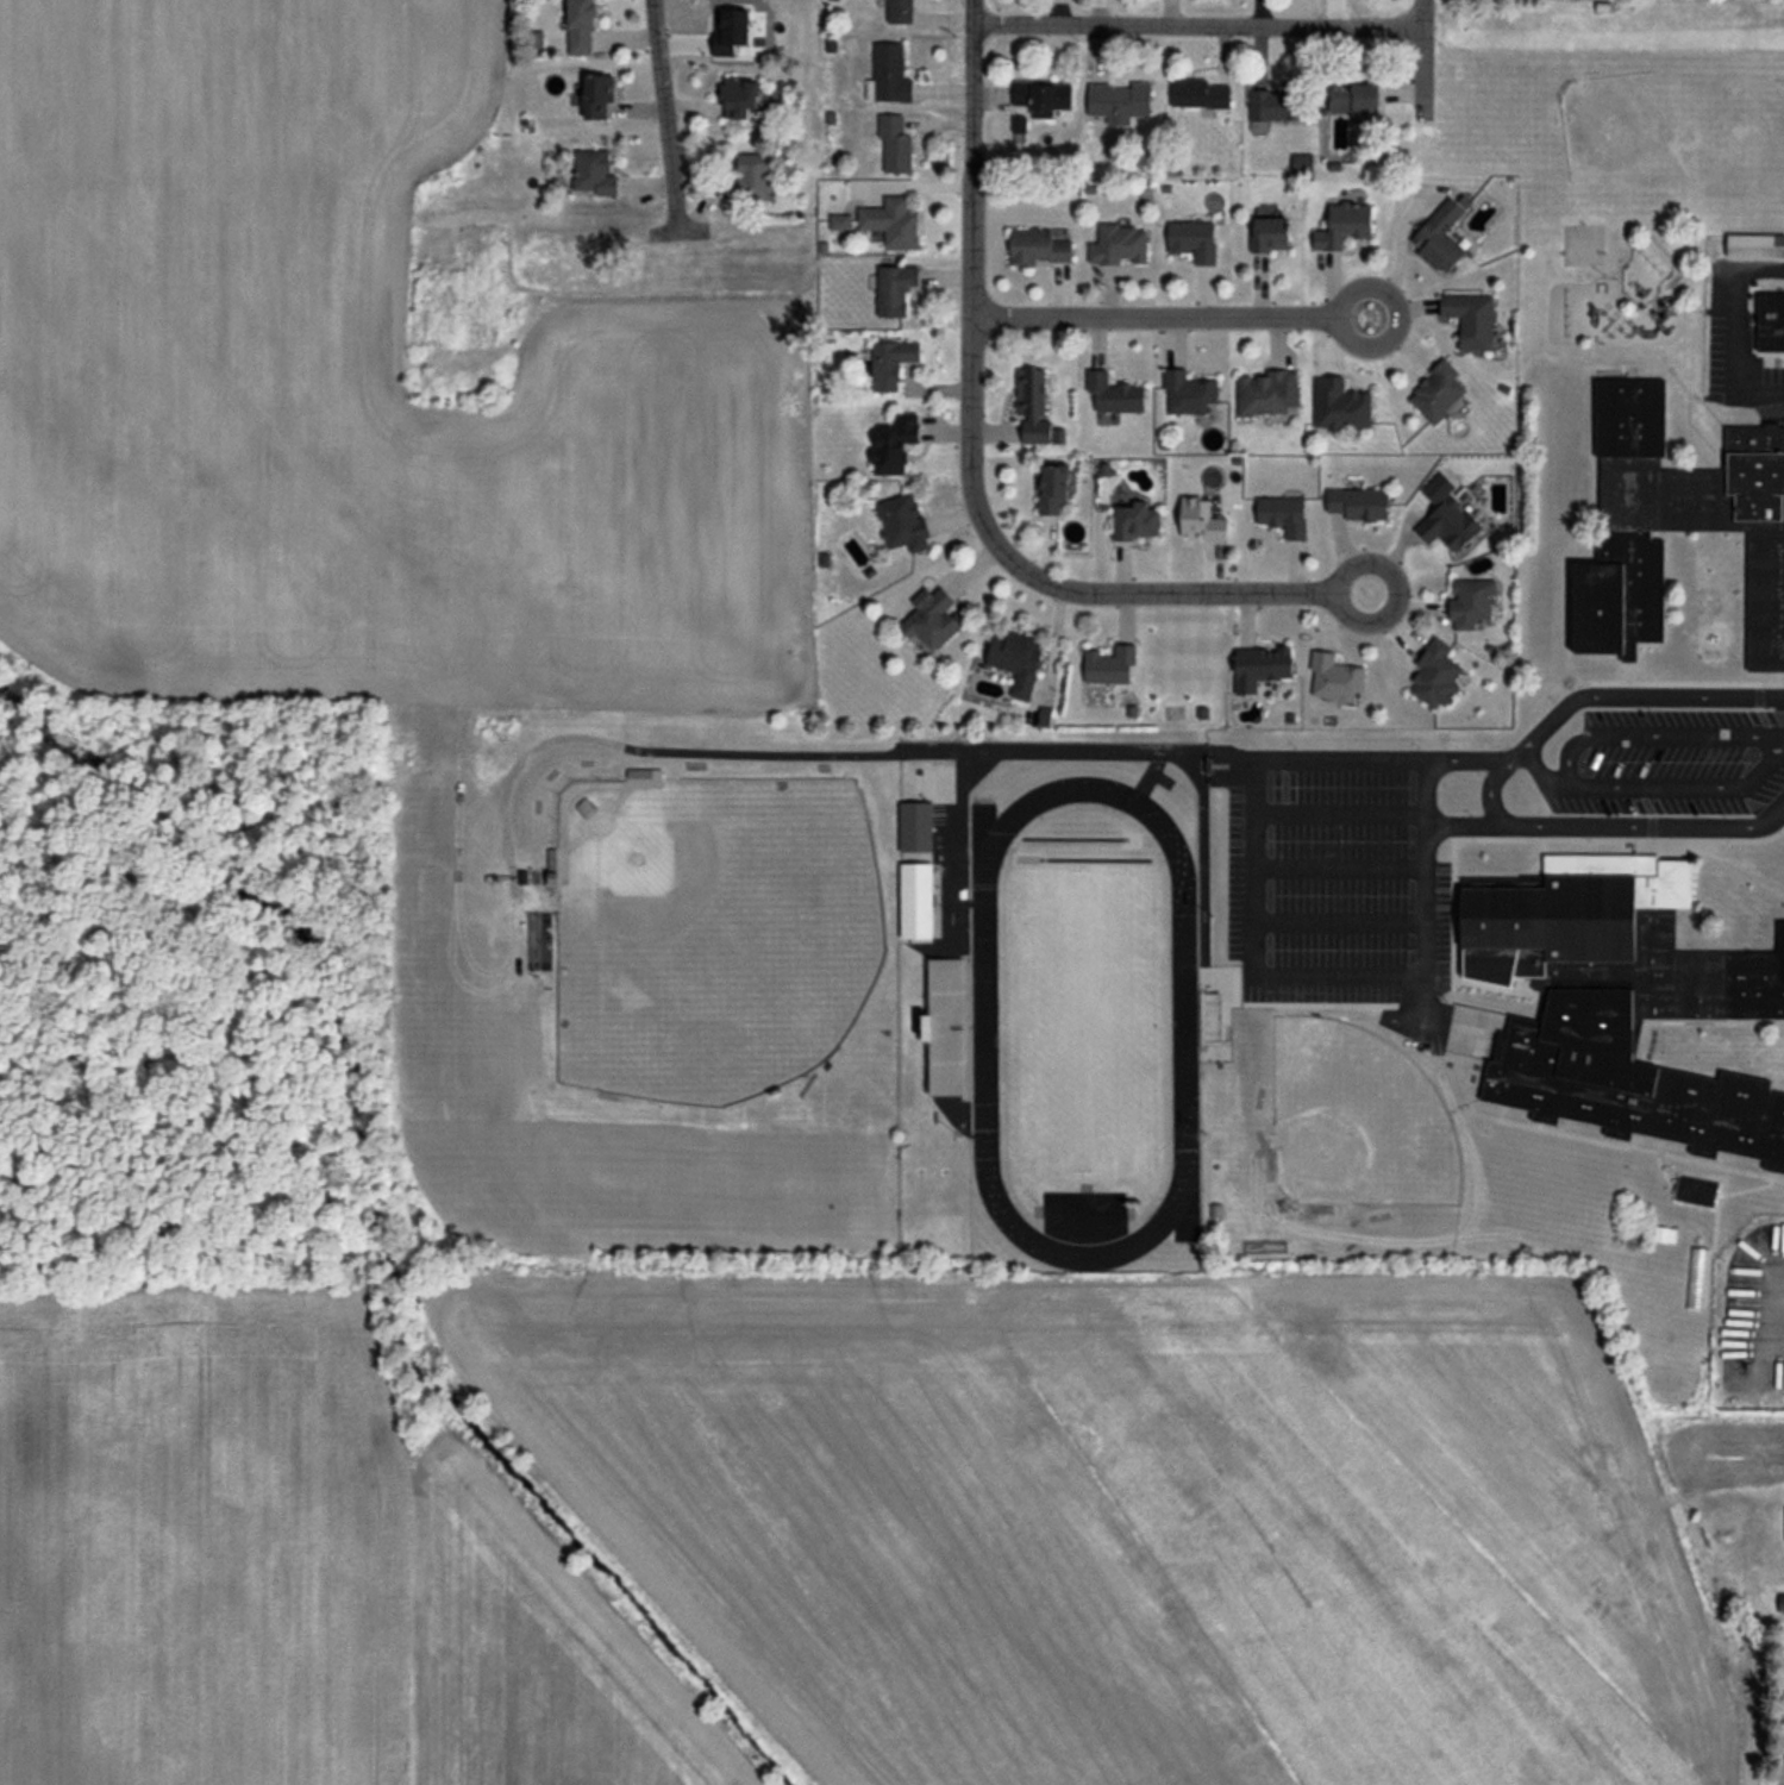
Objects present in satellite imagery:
building: (900, 11)
building: (581, 25)
road: (1197, 27)
building: (536, 39)
road: (1422, 61)
building: (889, 75)
building: (1198, 93)
building: (597, 95)
building: (739, 96)
building: (1043, 96)
building: (1354, 98)
building: (1119, 101)
building: (1277, 104)
road: (663, 115)
building: (1019, 124)
building: (895, 143)
building: (1303, 162)
building: (594, 173)
building: (749, 178)
building: (839, 221)
building: (891, 223)
building: (1345, 225)
building: (1442, 232)
building: (1269, 234)
building: (1193, 240)
building: (1119, 244)
building: (1755, 245)
building: (1038, 246)
building: (895, 288)
road: (1248, 312)
building: (1471, 319)
building: (1771, 322)
parking lot: (1735, 343)
road: (1728, 356)
building: (890, 363)
building: (1438, 392)
building: (1114, 393)
building: (1189, 393)
building: (1266, 393)
crop: (353, 397)
building: (1032, 405)
building: (1339, 405)
building: (894, 445)
road: (968, 451)
building: (1052, 489)
building: (1359, 503)
building: (1283, 515)
building: (1202, 518)
building: (1444, 519)
building: (1134, 521)
building: (903, 522)
building: (1676, 524)
road: (1398, 589)
building: (1473, 602)
building: (932, 618)
building: (1016, 659)
building: (1110, 665)
building: (1262, 666)
building: (1436, 675)
building: (1334, 676)
building: (1044, 716)
road: (1519, 741)
parking lot: (1622, 759)
road: (1567, 765)
road: (1535, 769)
building: (638, 775)
building: (1270, 791)
road: (1610, 826)
building: (551, 868)
building: (918, 901)
building: (1623, 1002)
building: (946, 1011)
track: (1183, 1025)
park: (1082, 1026)
building: (1696, 1190)
building: (1660, 1232)
crop: (845, 1539)
building: (1782, 1602)

